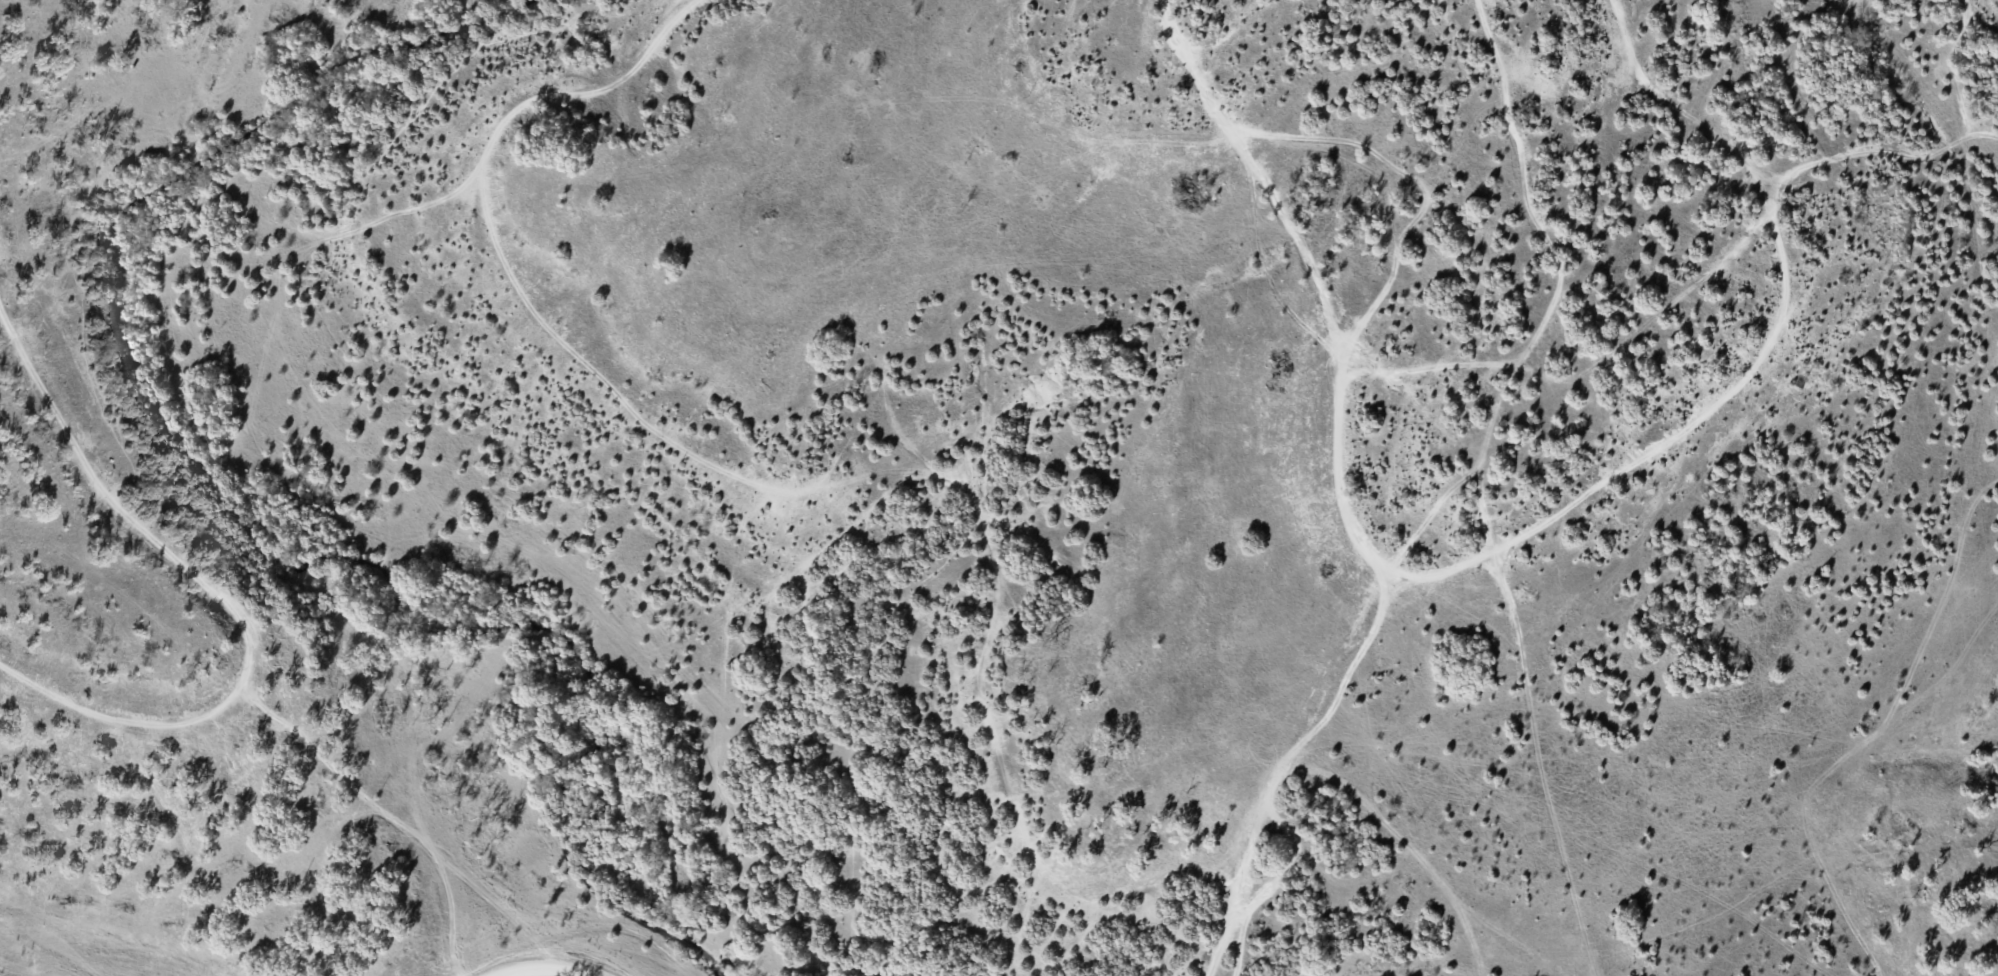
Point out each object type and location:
road: (551, 967)

